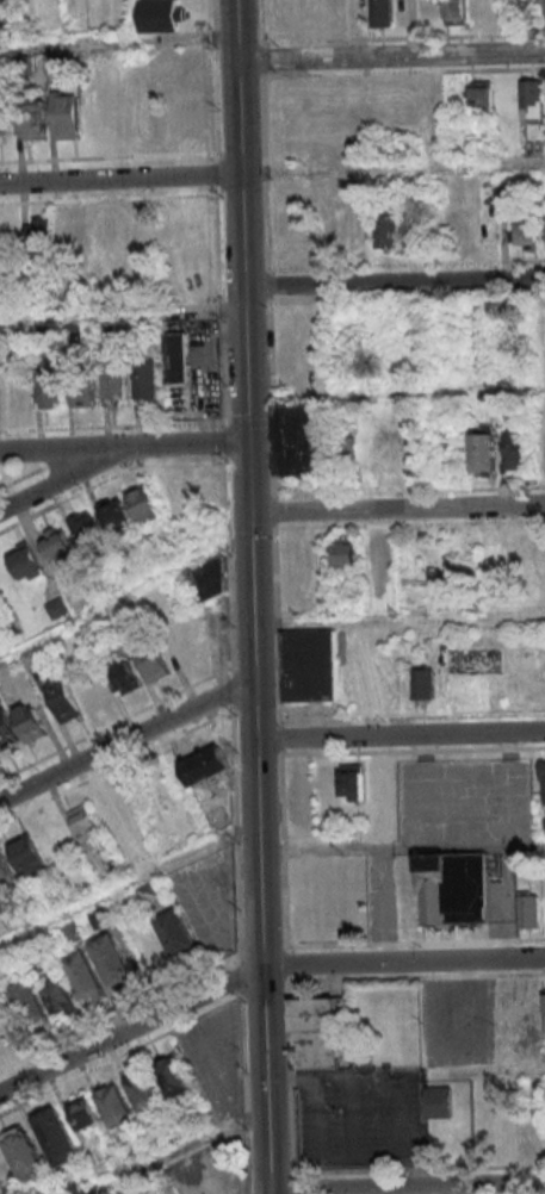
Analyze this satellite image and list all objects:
building: (541, 6)
building: (479, 11)
building: (456, 12)
building: (382, 13)
building: (155, 17)
road: (118, 38)
road: (445, 57)
road: (291, 62)
building: (482, 95)
building: (531, 99)
building: (4, 114)
building: (66, 114)
building: (33, 119)
road: (392, 170)
road: (119, 179)
building: (411, 231)
building: (70, 232)
building: (385, 232)
building: (525, 234)
building: (38, 236)
road: (394, 285)
road: (122, 315)
building: (176, 356)
building: (149, 378)
building: (118, 386)
building: (50, 387)
building: (85, 392)
building: (18, 393)
building: (302, 440)
road: (187, 444)
road: (64, 449)
building: (516, 449)
building: (484, 450)
road: (64, 478)
building: (144, 504)
road: (396, 509)
building: (118, 517)
building: (86, 526)
building: (57, 543)
building: (495, 547)
building: (346, 553)
building: (26, 562)
building: (209, 580)
road: (124, 595)
road: (250, 596)
road: (275, 597)
building: (154, 663)
building: (308, 668)
building: (125, 674)
building: (421, 685)
building: (95, 691)
building: (62, 698)
building: (30, 721)
building: (7, 732)
road: (400, 735)
road: (126, 739)
building: (206, 765)
building: (543, 781)
building: (353, 782)
parking lot: (464, 800)
building: (87, 828)
building: (29, 858)
building: (5, 869)
road: (129, 885)
building: (448, 889)
building: (149, 891)
parking lot: (208, 898)
building: (527, 912)
building: (176, 932)
building: (112, 960)
road: (402, 962)
building: (85, 977)
building: (62, 997)
building: (30, 1002)
building: (544, 1003)
building: (314, 1013)
parking lot: (485, 1024)
building: (6, 1025)
road: (130, 1028)
building: (315, 1050)
parking lot: (216, 1062)
building: (174, 1075)
building: (144, 1090)
building: (439, 1101)
building: (116, 1105)
building: (83, 1113)
parking lot: (359, 1119)
building: (57, 1136)
road: (175, 1151)
building: (24, 1153)
building: (222, 1183)
road: (405, 1188)
building: (202, 1193)

